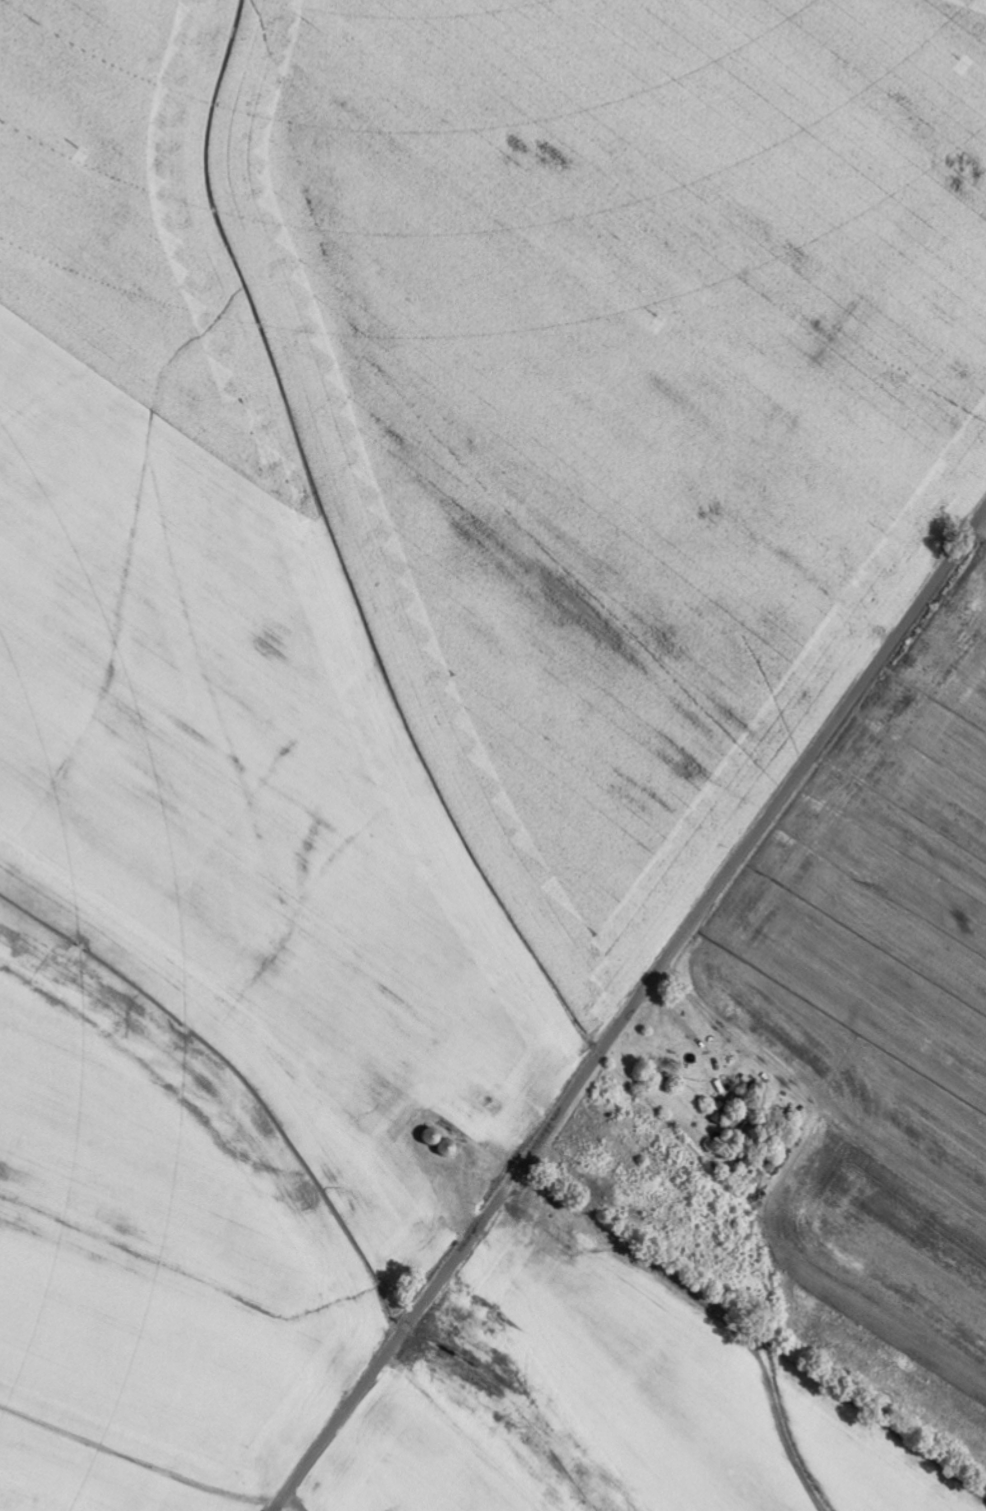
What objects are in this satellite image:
road: (981, 526)
road: (630, 1009)
road: (297, 1503)

